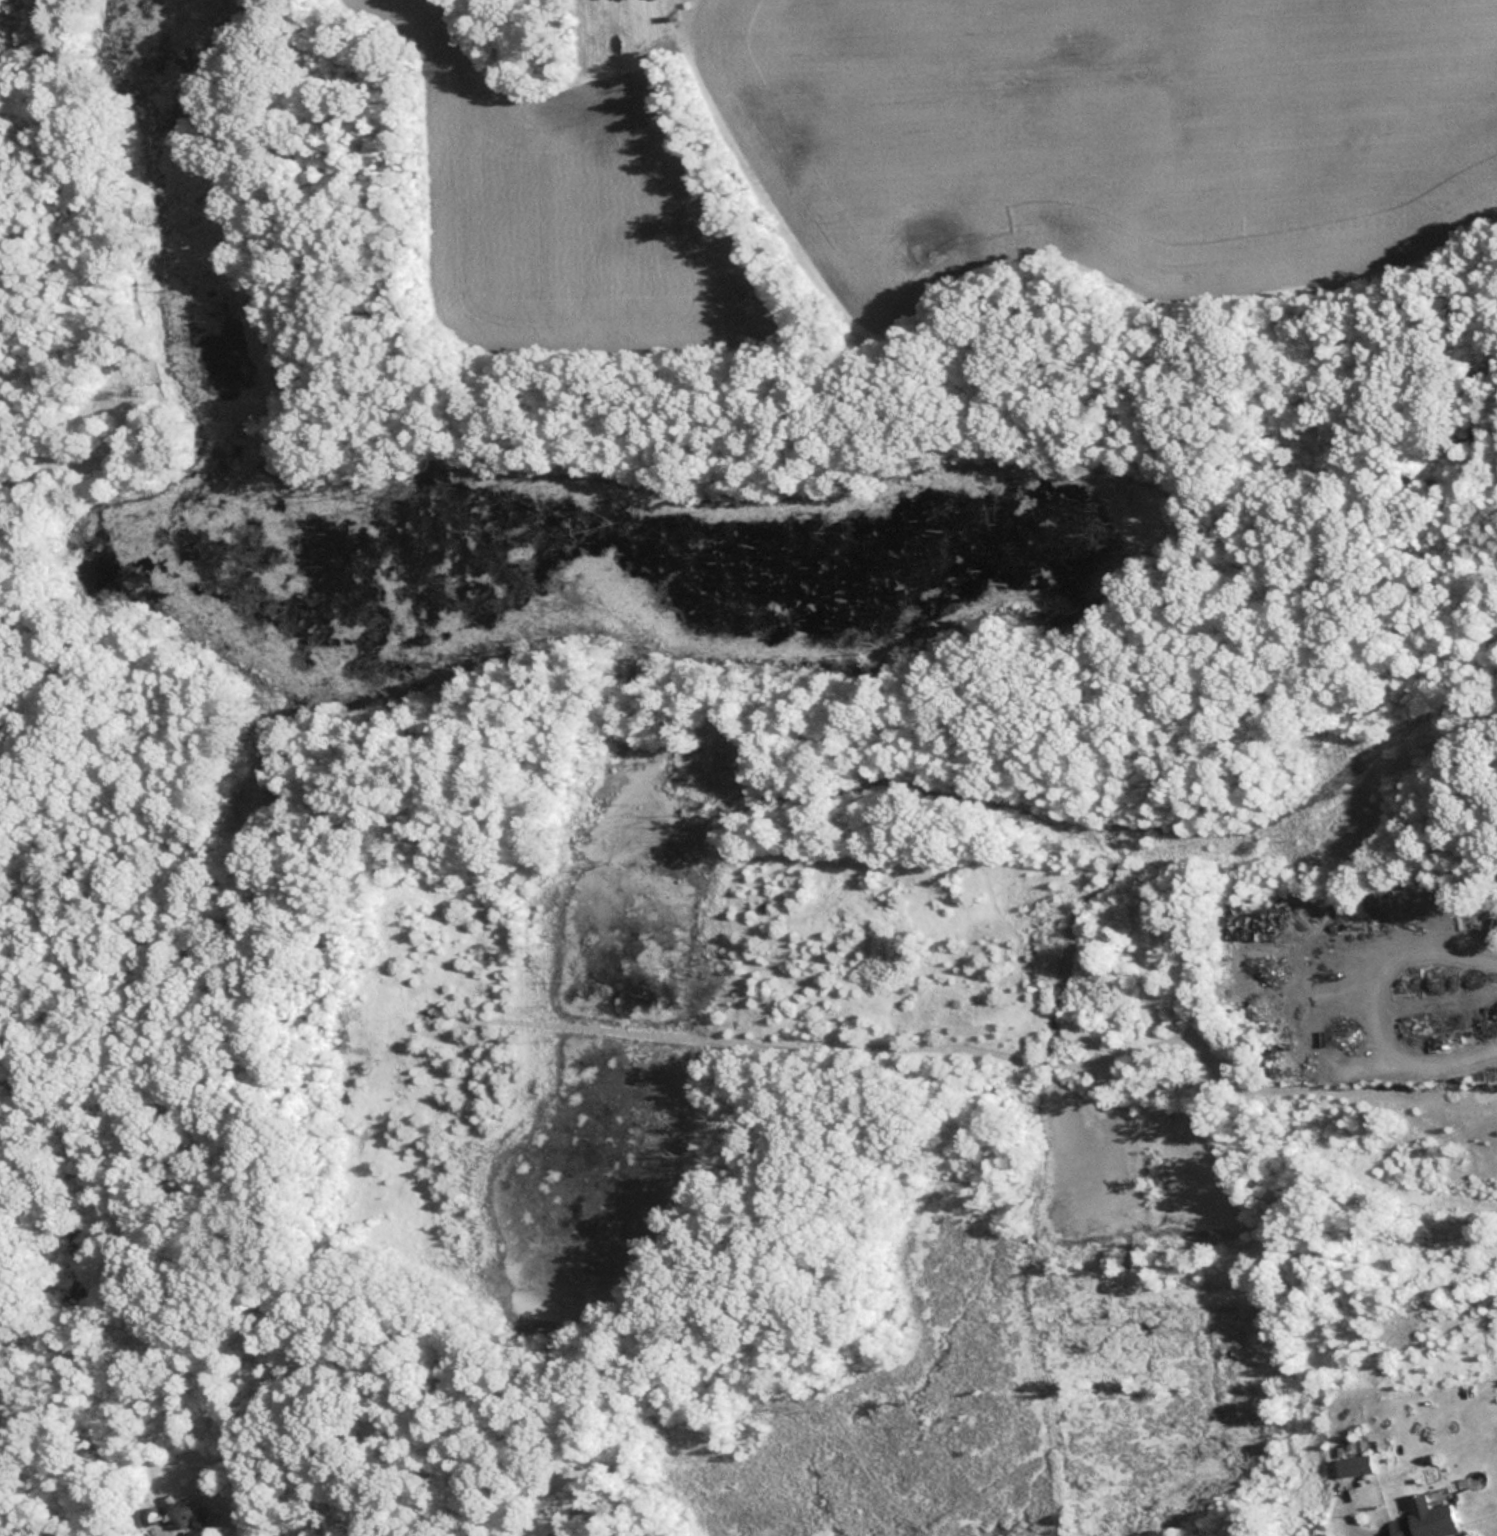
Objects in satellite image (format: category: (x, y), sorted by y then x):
building: (1354, 1465)
building: (1423, 1519)

